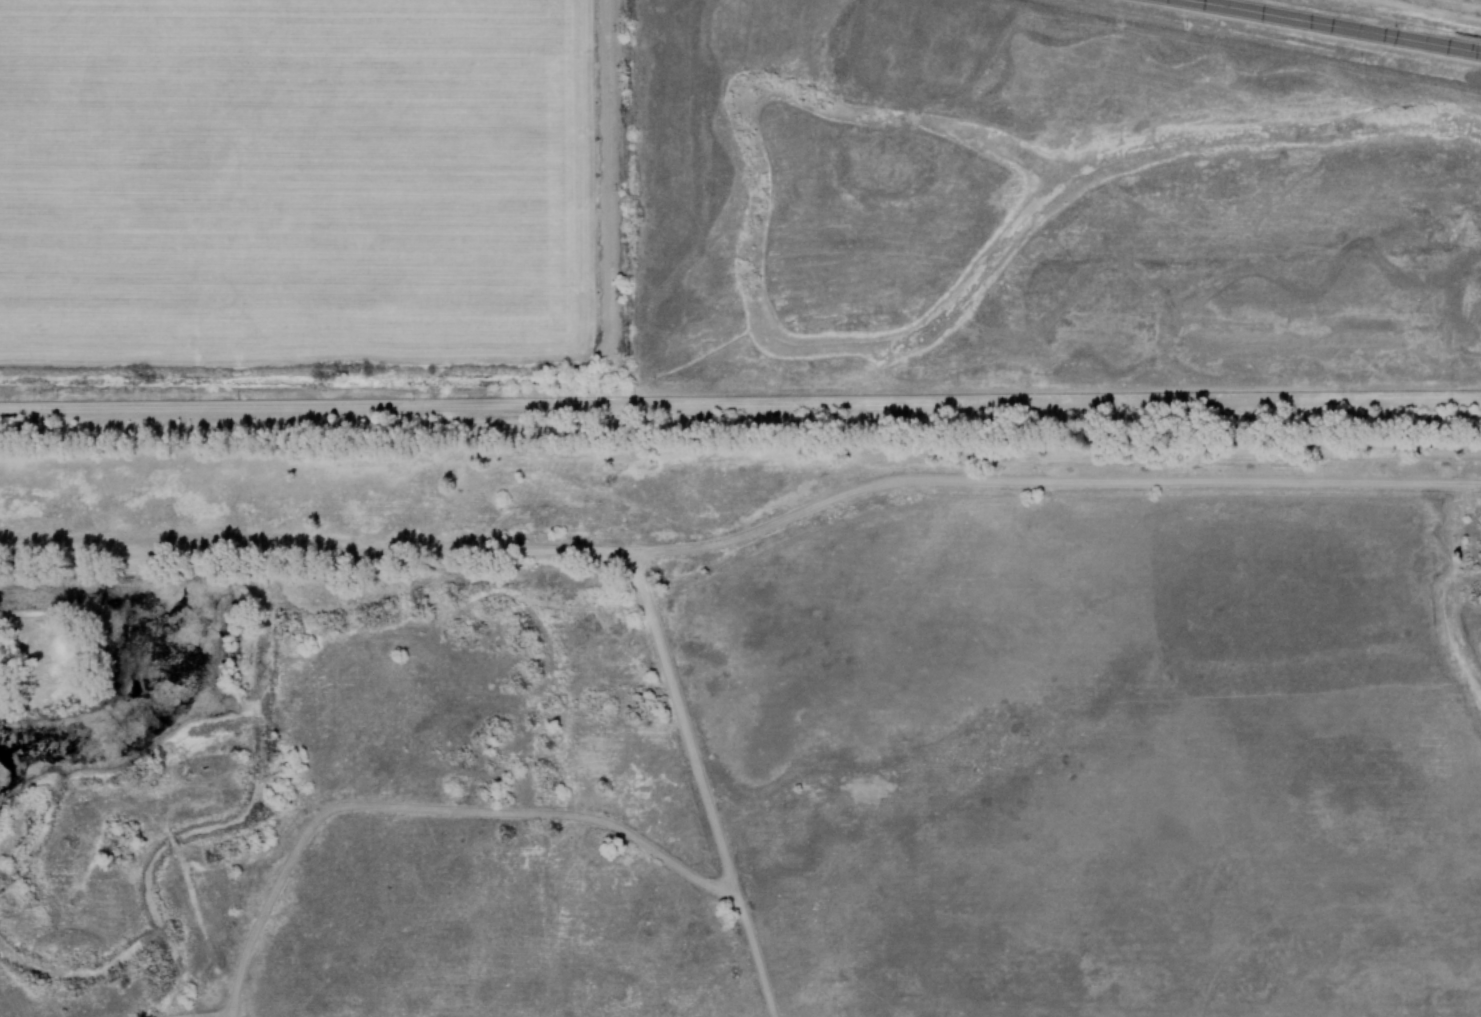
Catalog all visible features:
road: (1324, 29)

